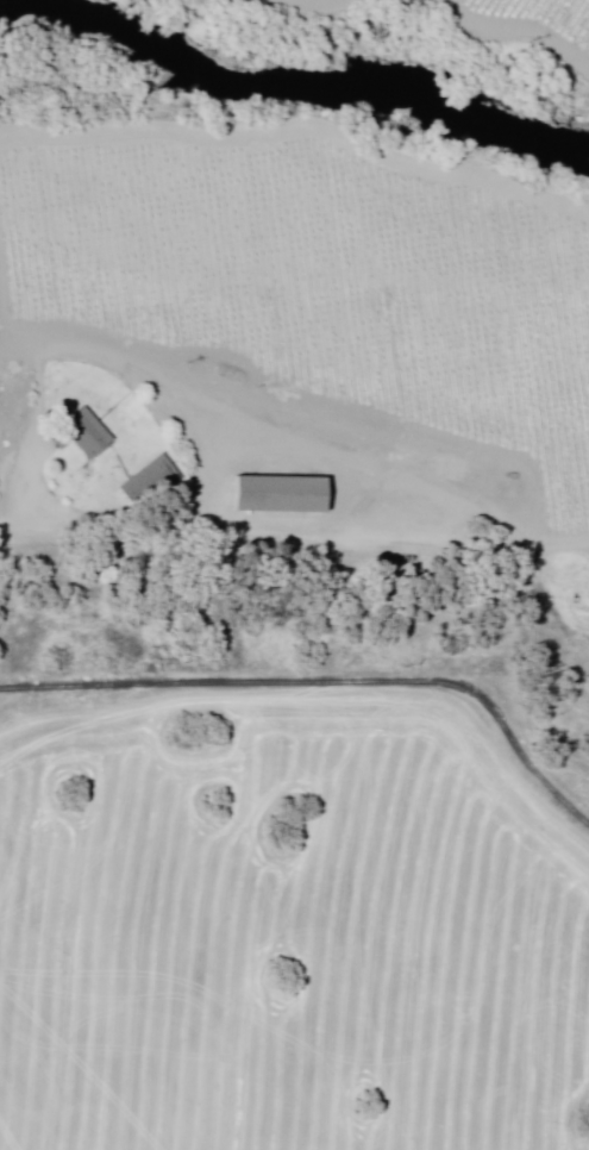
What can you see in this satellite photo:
crop: (546, 19)
crop: (319, 279)
building: (83, 433)
road: (293, 474)
building: (146, 482)
building: (277, 495)
crop: (282, 929)

